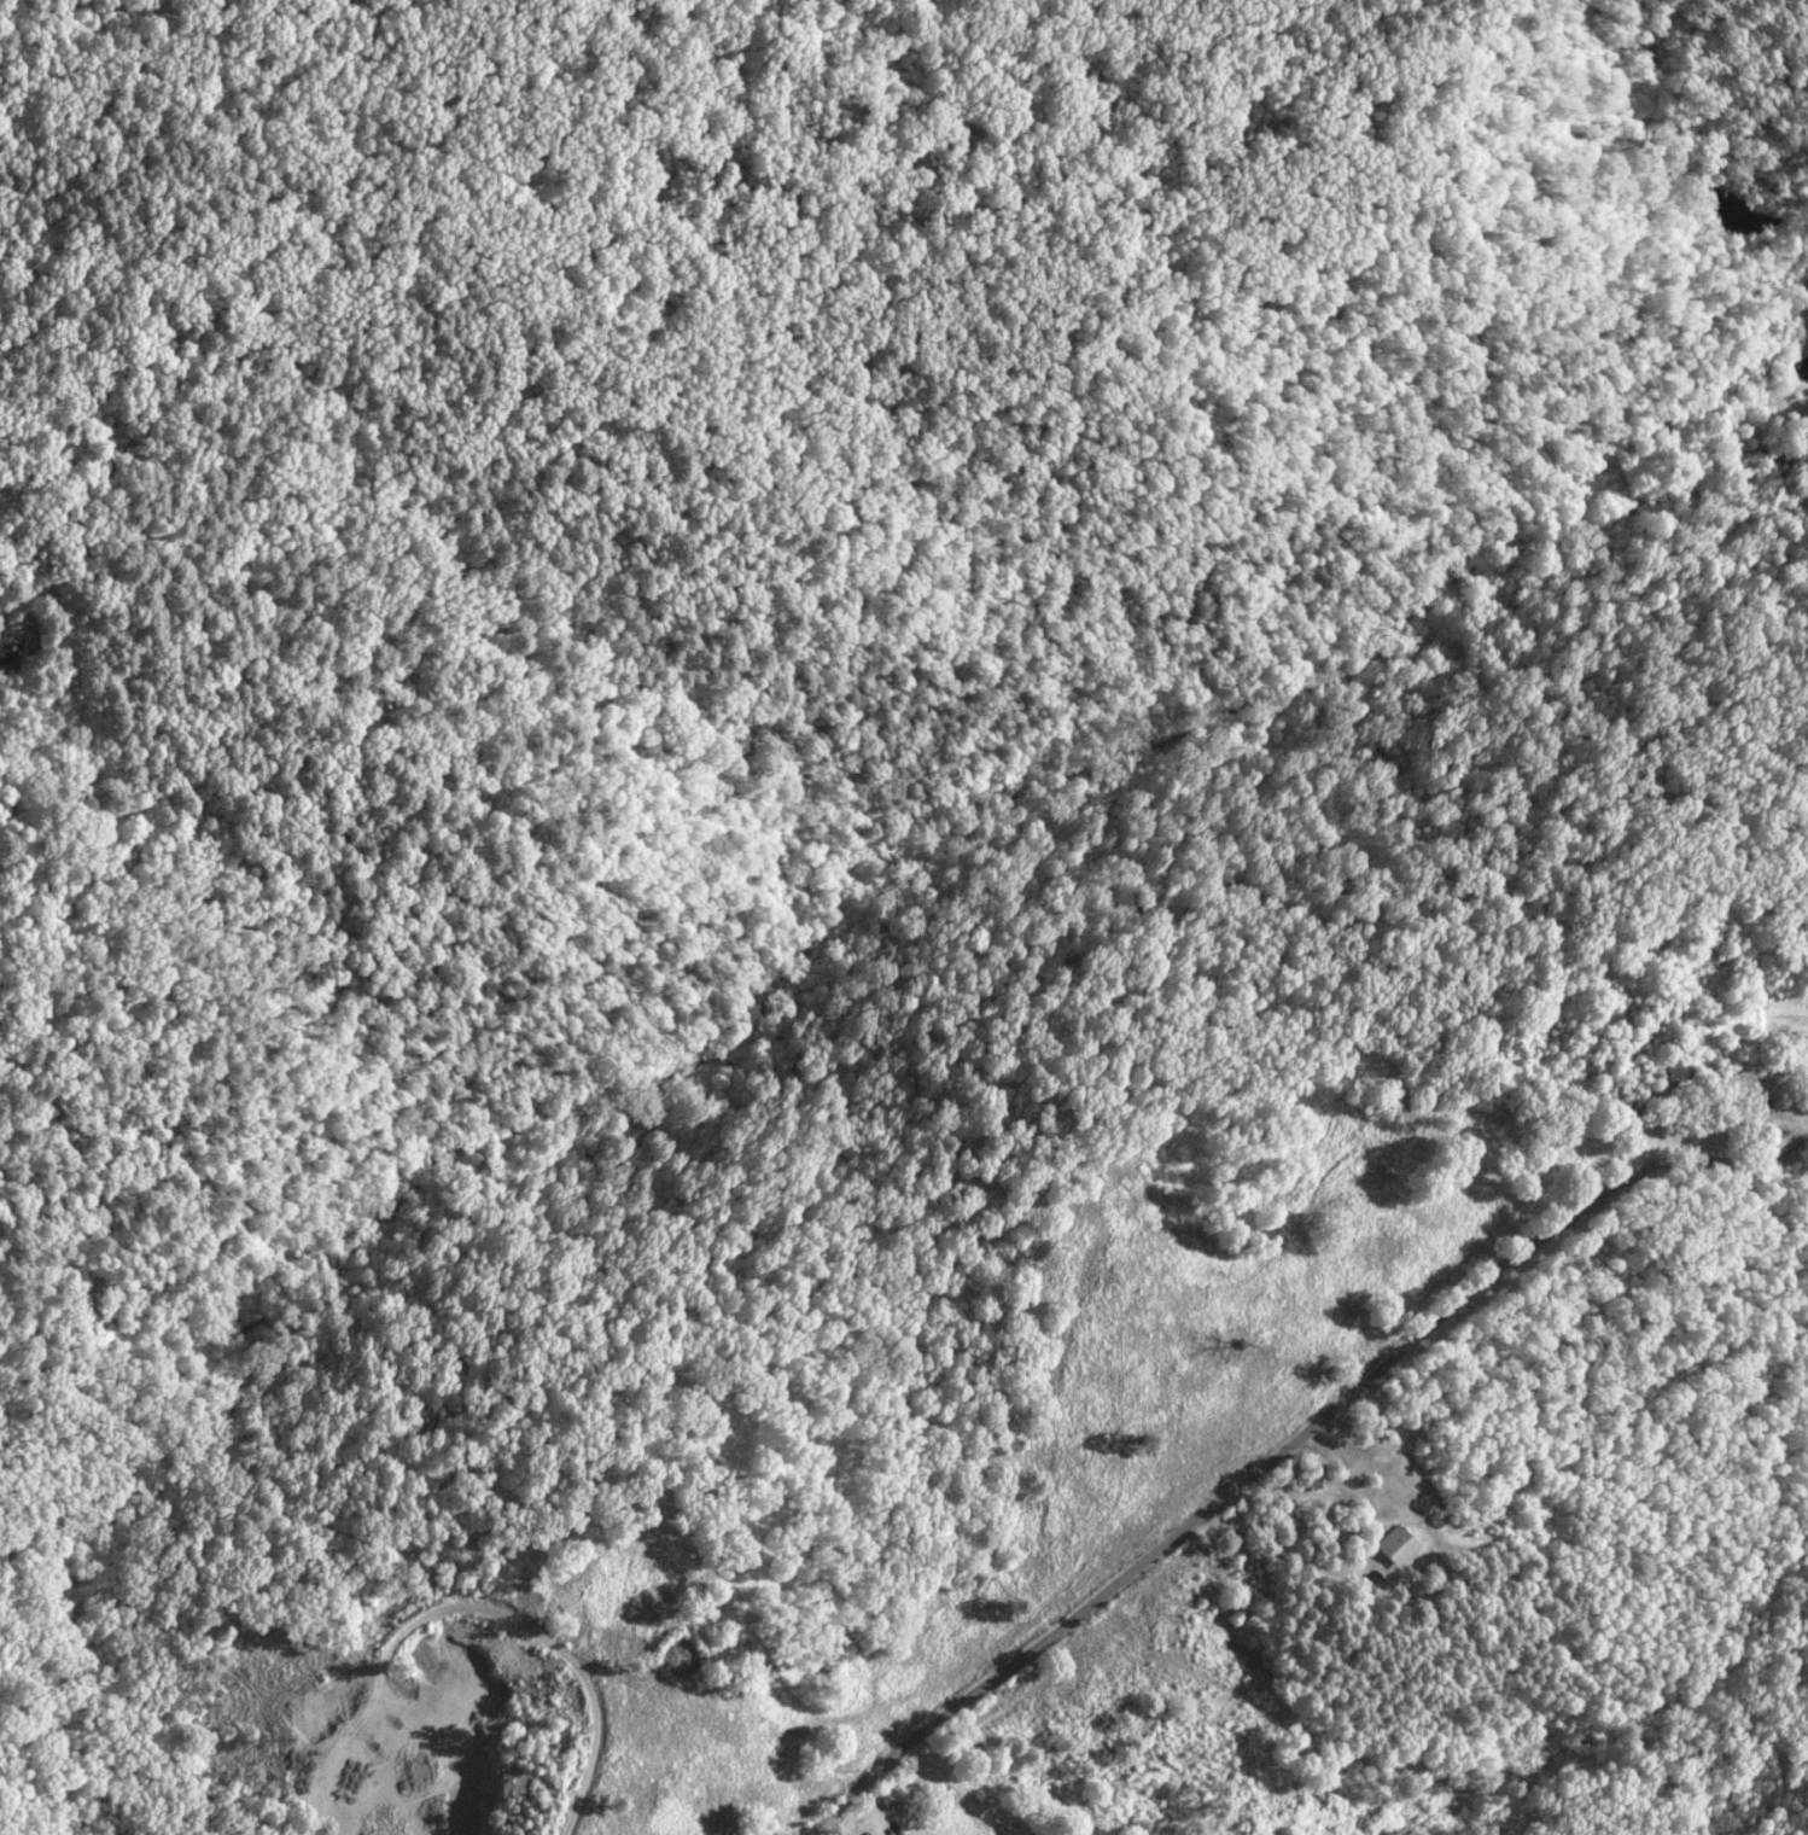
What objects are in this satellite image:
road: (1285, 1452)
building: (1394, 1545)

